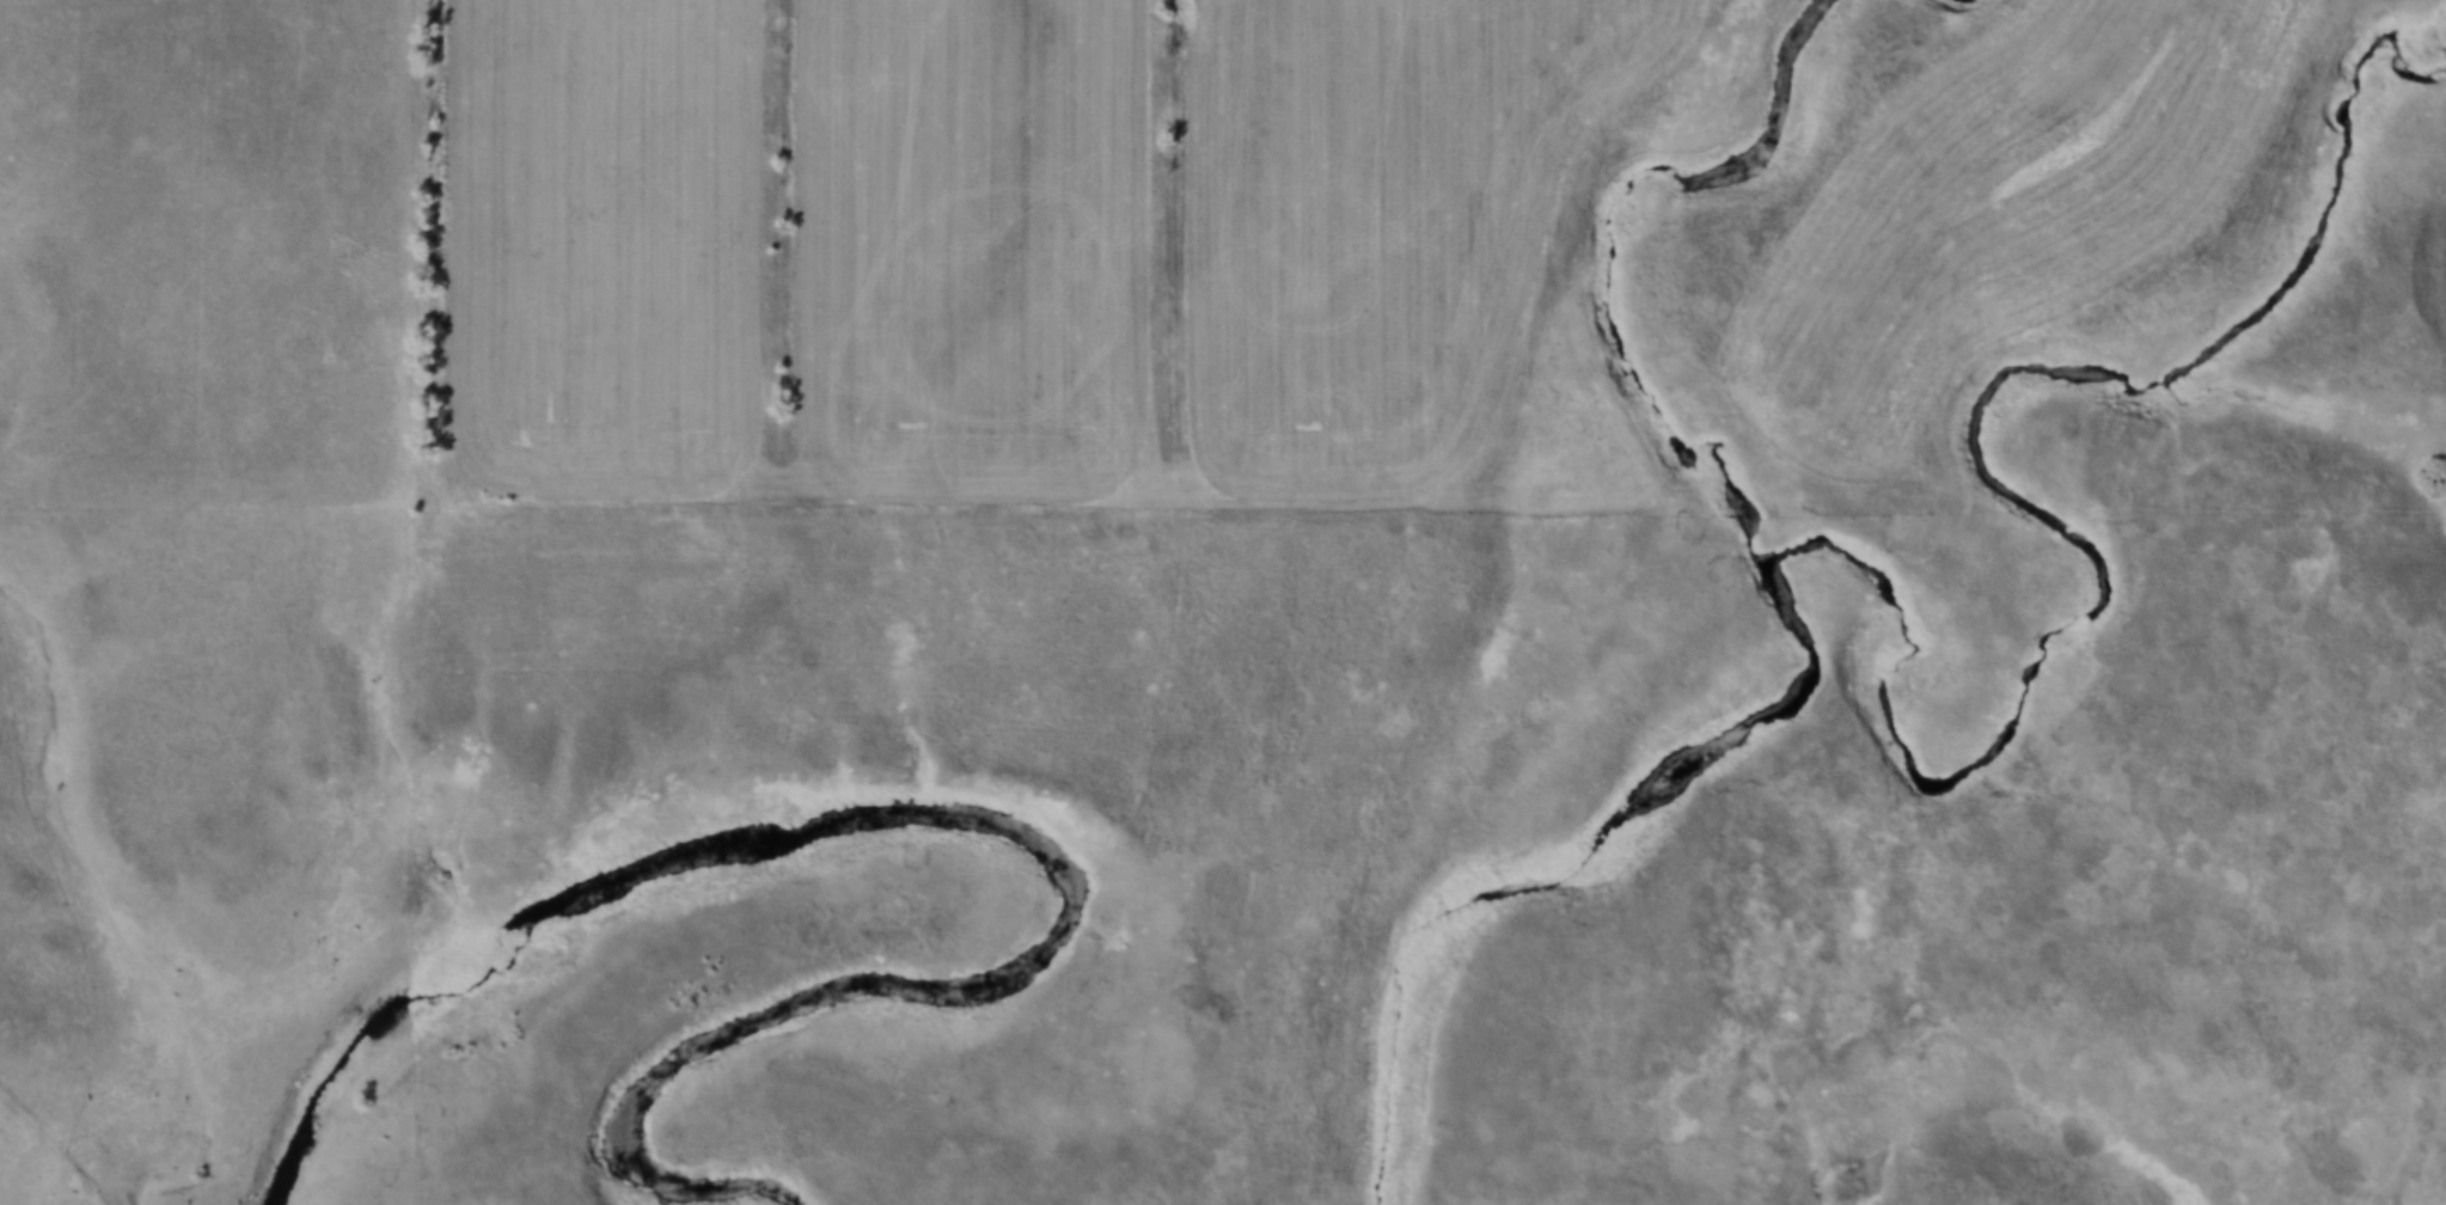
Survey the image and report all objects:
road: (2001, 29)

